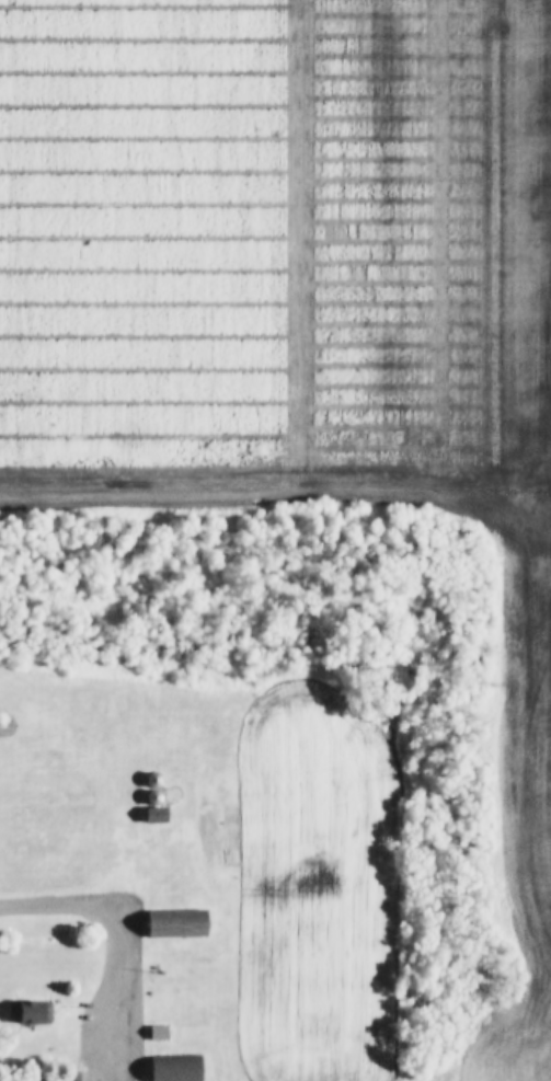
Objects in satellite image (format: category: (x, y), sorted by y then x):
road: (125, 942)

